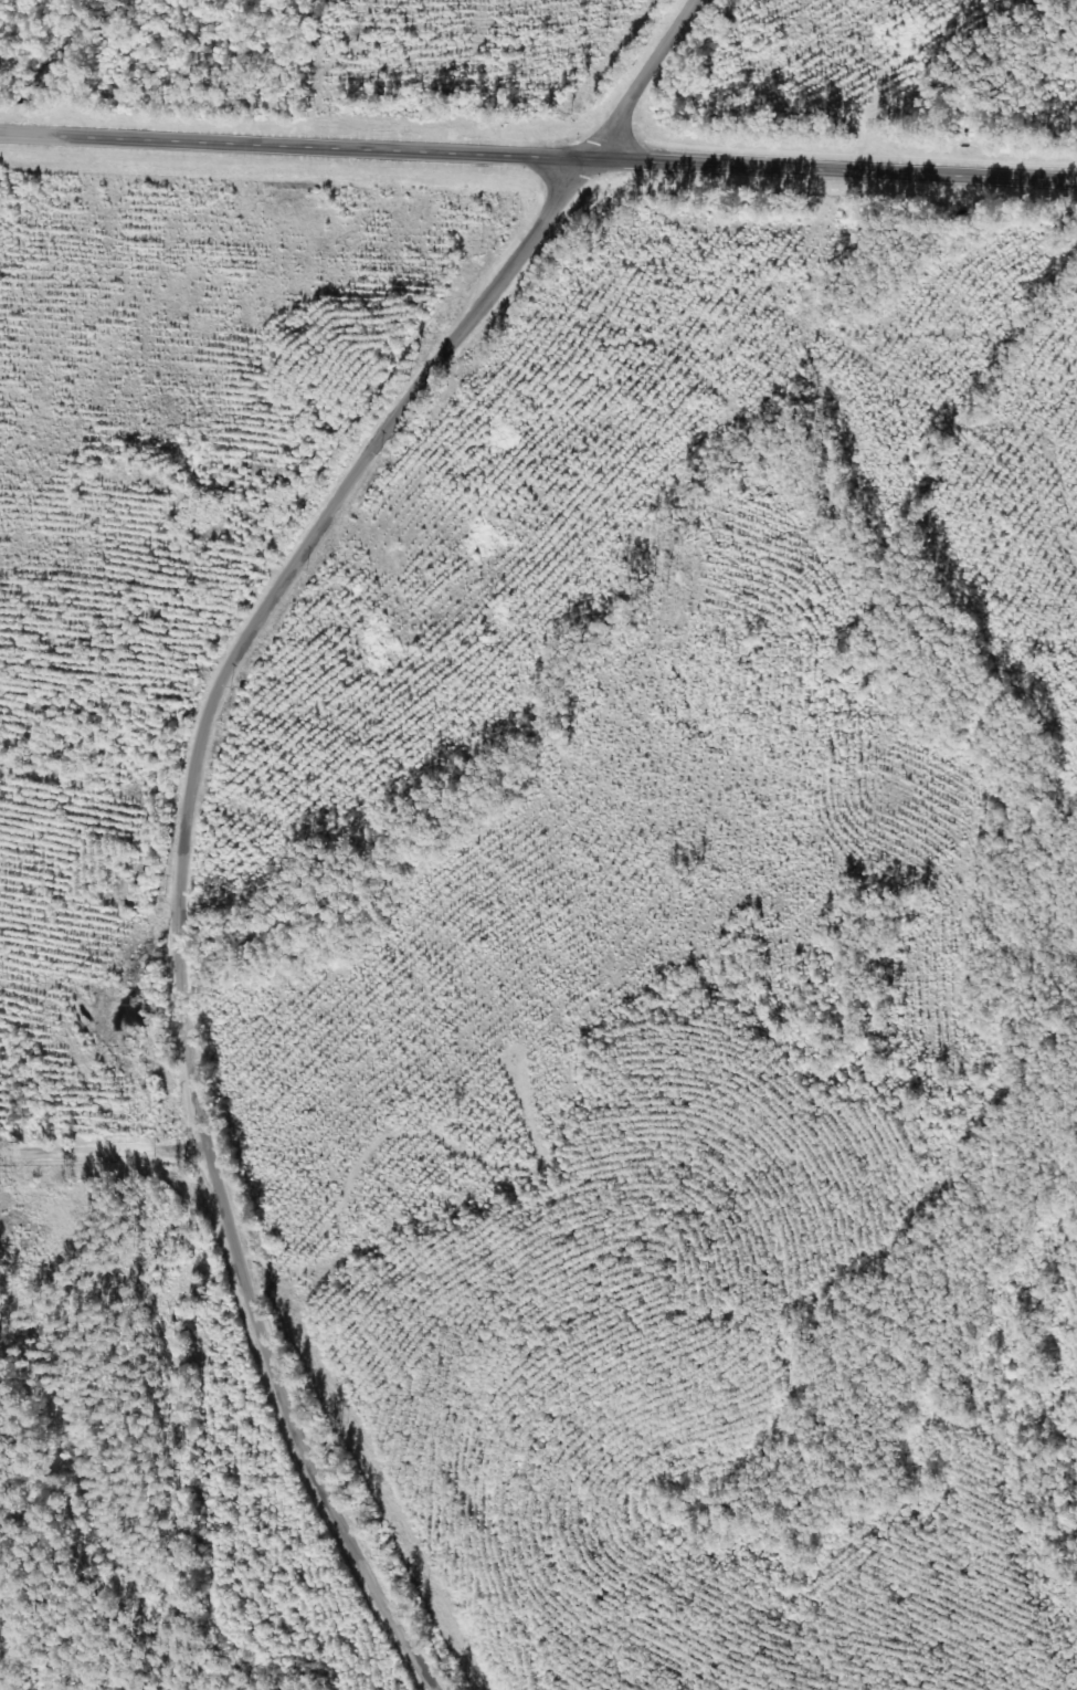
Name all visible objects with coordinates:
road: (644, 78)
road: (538, 155)
road: (177, 888)
road: (105, 1146)

